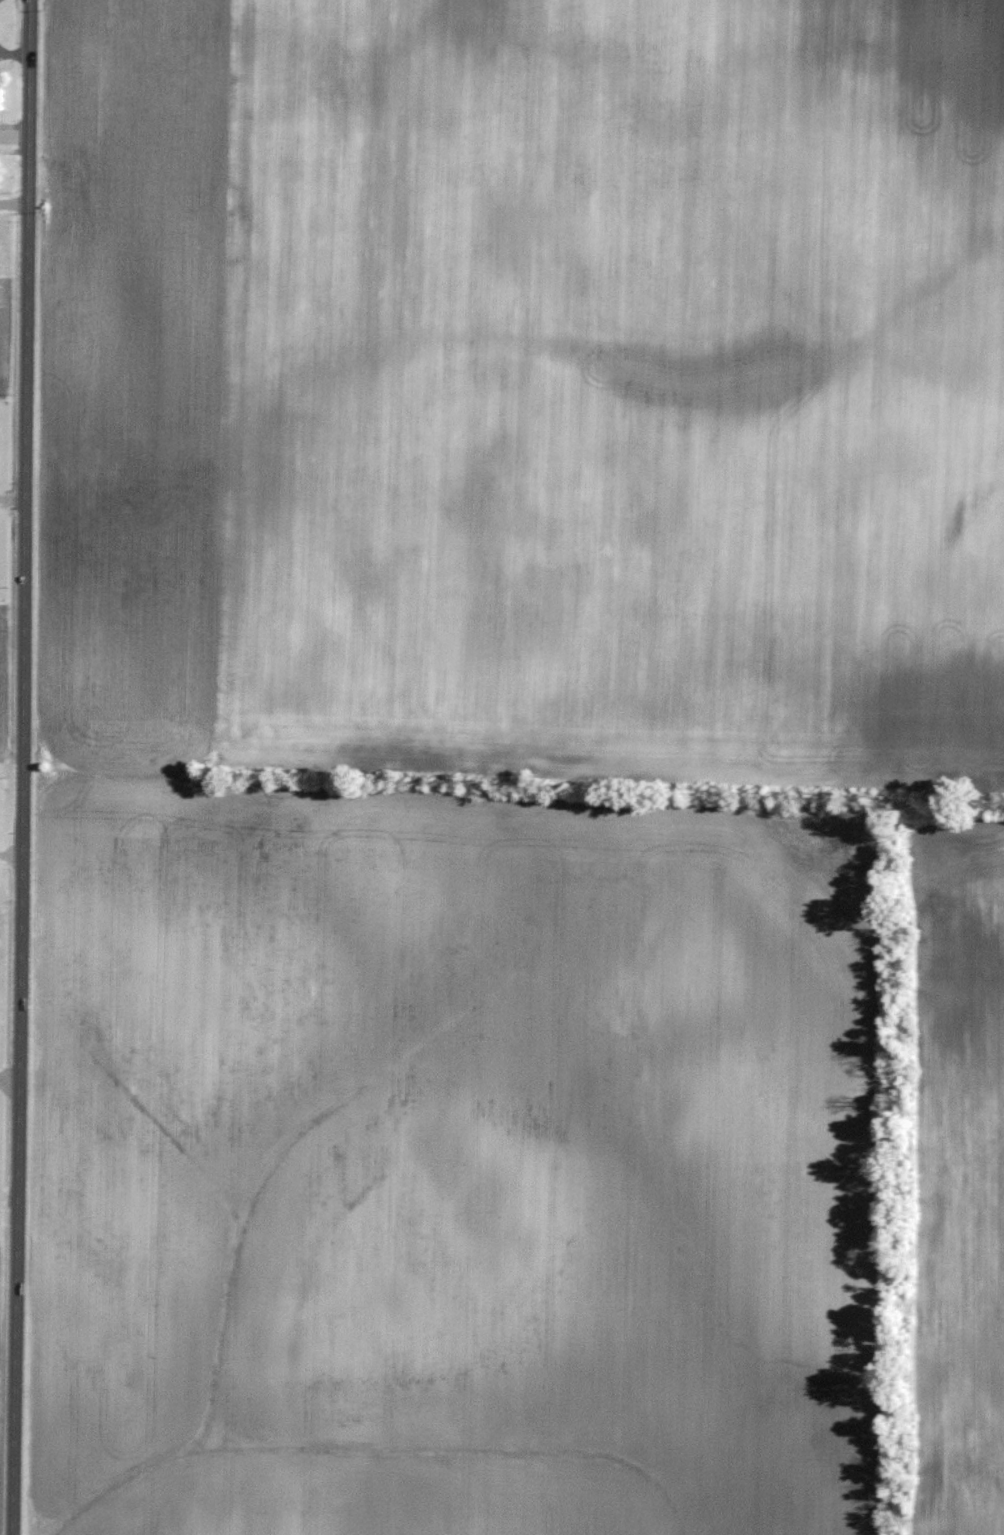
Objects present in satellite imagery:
road: (4, 51)
road: (15, 55)
building: (2, 106)
road: (23, 767)
road: (9, 1087)

